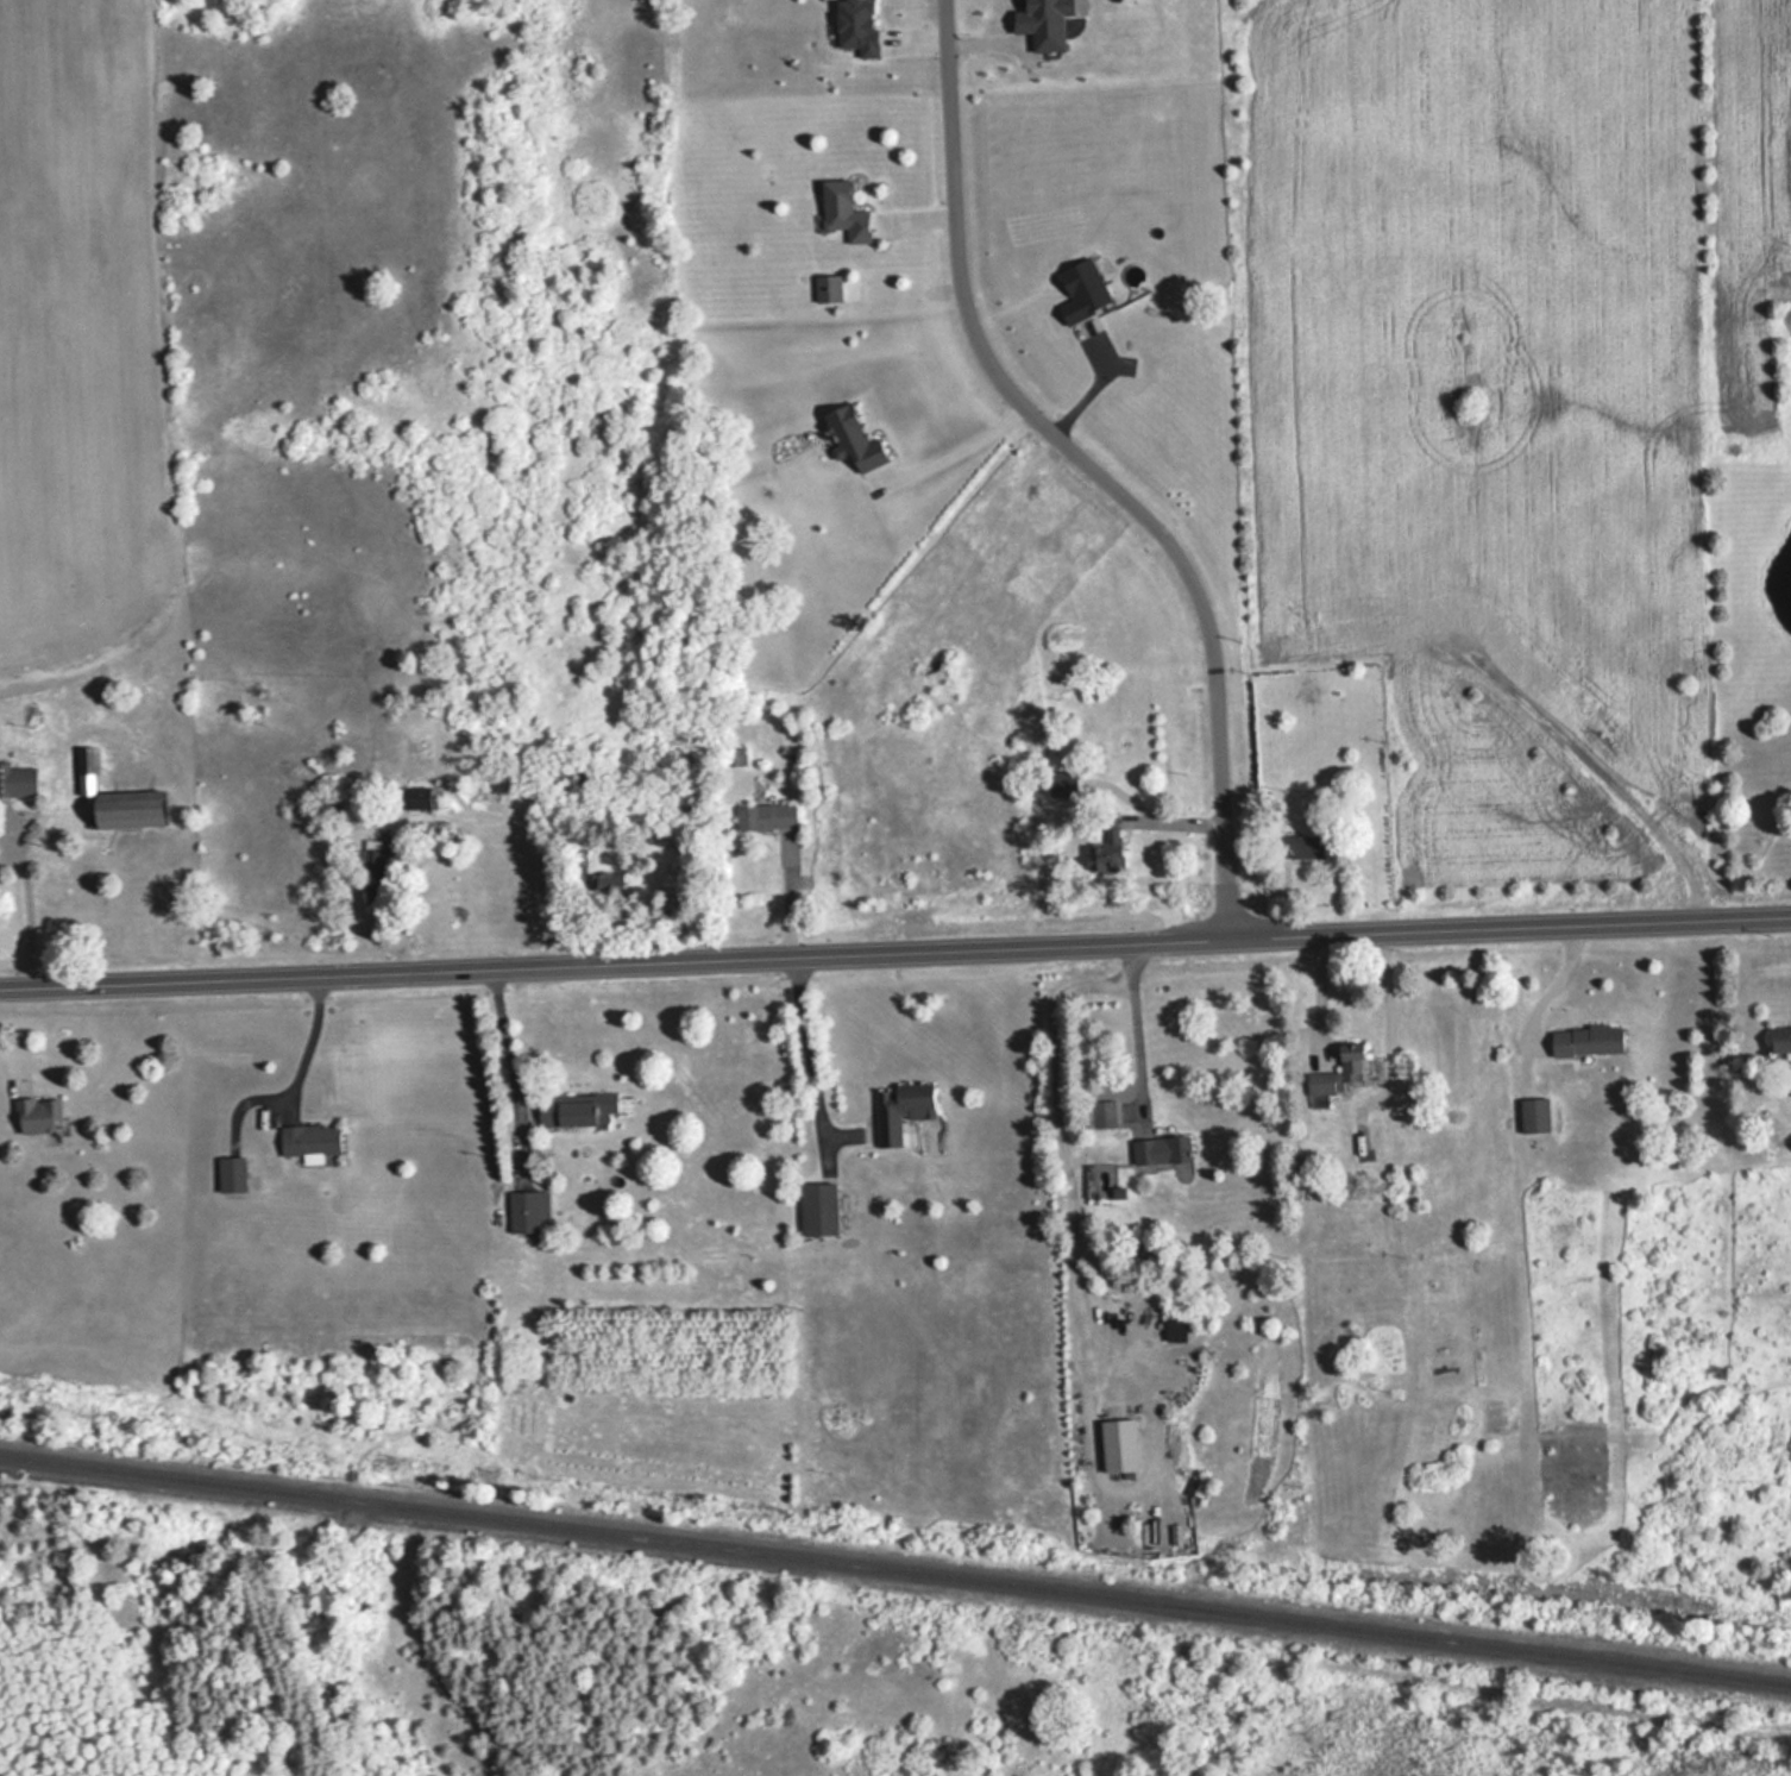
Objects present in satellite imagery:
building: (842, 211)
building: (851, 438)
road: (954, 456)
road: (1091, 465)
building: (735, 755)
building: (567, 776)
building: (17, 780)
building: (414, 797)
building: (117, 801)
building: (763, 816)
road: (529, 833)
building: (1104, 841)
building: (1300, 846)
building: (372, 867)
building: (608, 881)
road: (21, 920)
road: (895, 950)
road: (1553, 985)
road: (1316, 997)
road: (1136, 1025)
road: (507, 1040)
building: (1585, 1040)
building: (1779, 1041)
road: (298, 1042)
road: (807, 1047)
building: (1334, 1074)
building: (574, 1109)
building: (899, 1109)
building: (1100, 1113)
building: (36, 1115)
building: (1532, 1115)
building: (307, 1140)
building: (1160, 1149)
building: (230, 1174)
building: (817, 1209)
building: (526, 1210)
railway: (895, 1569)

